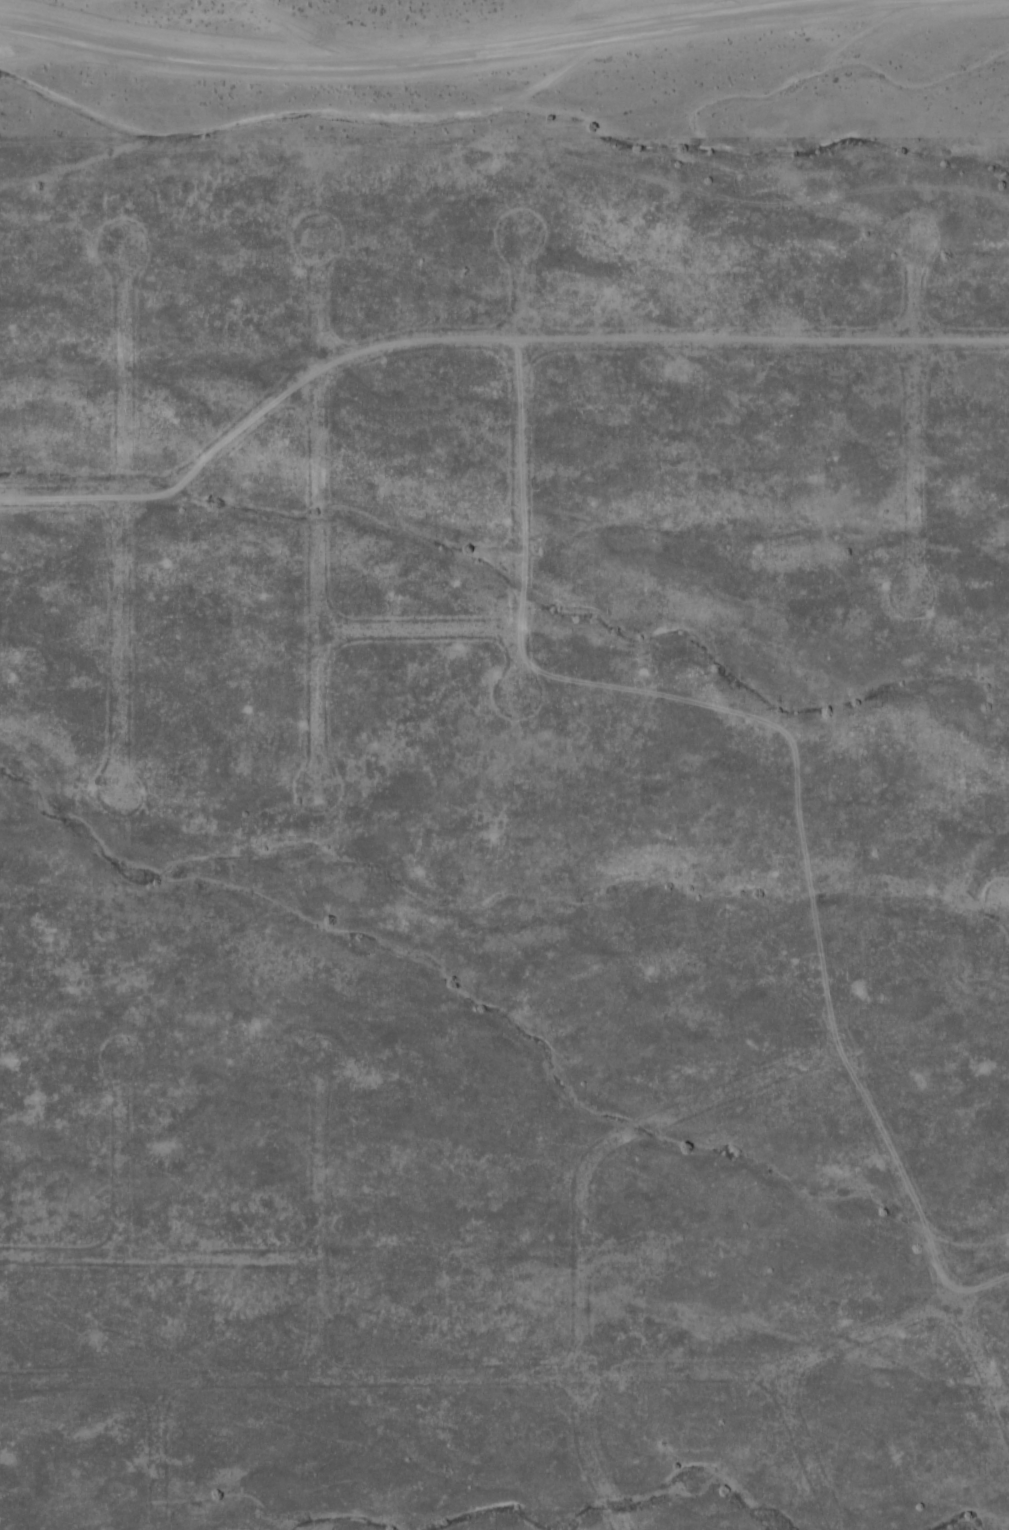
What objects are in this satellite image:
road: (449, 56)

